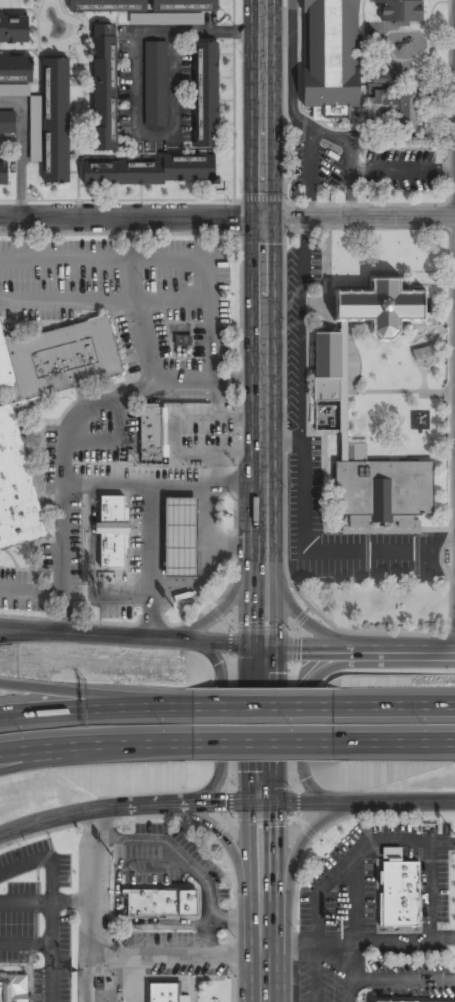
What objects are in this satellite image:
building: (109, 3)
building: (183, 5)
building: (401, 11)
building: (14, 30)
building: (332, 57)
building: (15, 69)
building: (155, 83)
building: (13, 92)
building: (207, 95)
building: (104, 96)
building: (395, 108)
building: (52, 122)
building: (7, 123)
building: (153, 170)
building: (4, 173)
road: (261, 207)
road: (227, 219)
traffic signals: (262, 219)
road: (166, 260)
road: (105, 299)
road: (133, 300)
building: (381, 307)
building: (182, 340)
building: (59, 358)
building: (327, 367)
building: (343, 390)
road: (70, 426)
building: (151, 434)
road: (117, 443)
road: (269, 443)
building: (17, 486)
road: (158, 486)
building: (381, 489)
building: (381, 528)
building: (112, 531)
building: (179, 535)
gas station: (179, 535)
road: (92, 537)
road: (229, 546)
road: (152, 562)
road: (196, 587)
road: (32, 591)
road: (218, 609)
road: (323, 633)
road: (17, 635)
road: (137, 638)
traffic signals: (251, 645)
traffic signals: (276, 646)
road: (365, 647)
road: (97, 693)
road: (230, 706)
road: (250, 707)
road: (394, 707)
road: (263, 710)
road: (96, 712)
road: (305, 717)
road: (220, 733)
road: (275, 736)
road: (394, 743)
road: (263, 744)
road: (96, 746)
road: (40, 758)
road: (352, 802)
traffic signals: (250, 803)
traffic signals: (275, 803)
road: (123, 809)
road: (64, 827)
road: (98, 828)
road: (218, 835)
road: (299, 844)
road: (334, 875)
road: (37, 894)
building: (397, 894)
road: (72, 902)
road: (50, 904)
building: (163, 904)
road: (94, 907)
parking lot: (36, 921)
road: (354, 927)
road: (25, 944)
building: (13, 988)
building: (163, 992)
building: (412, 1001)

